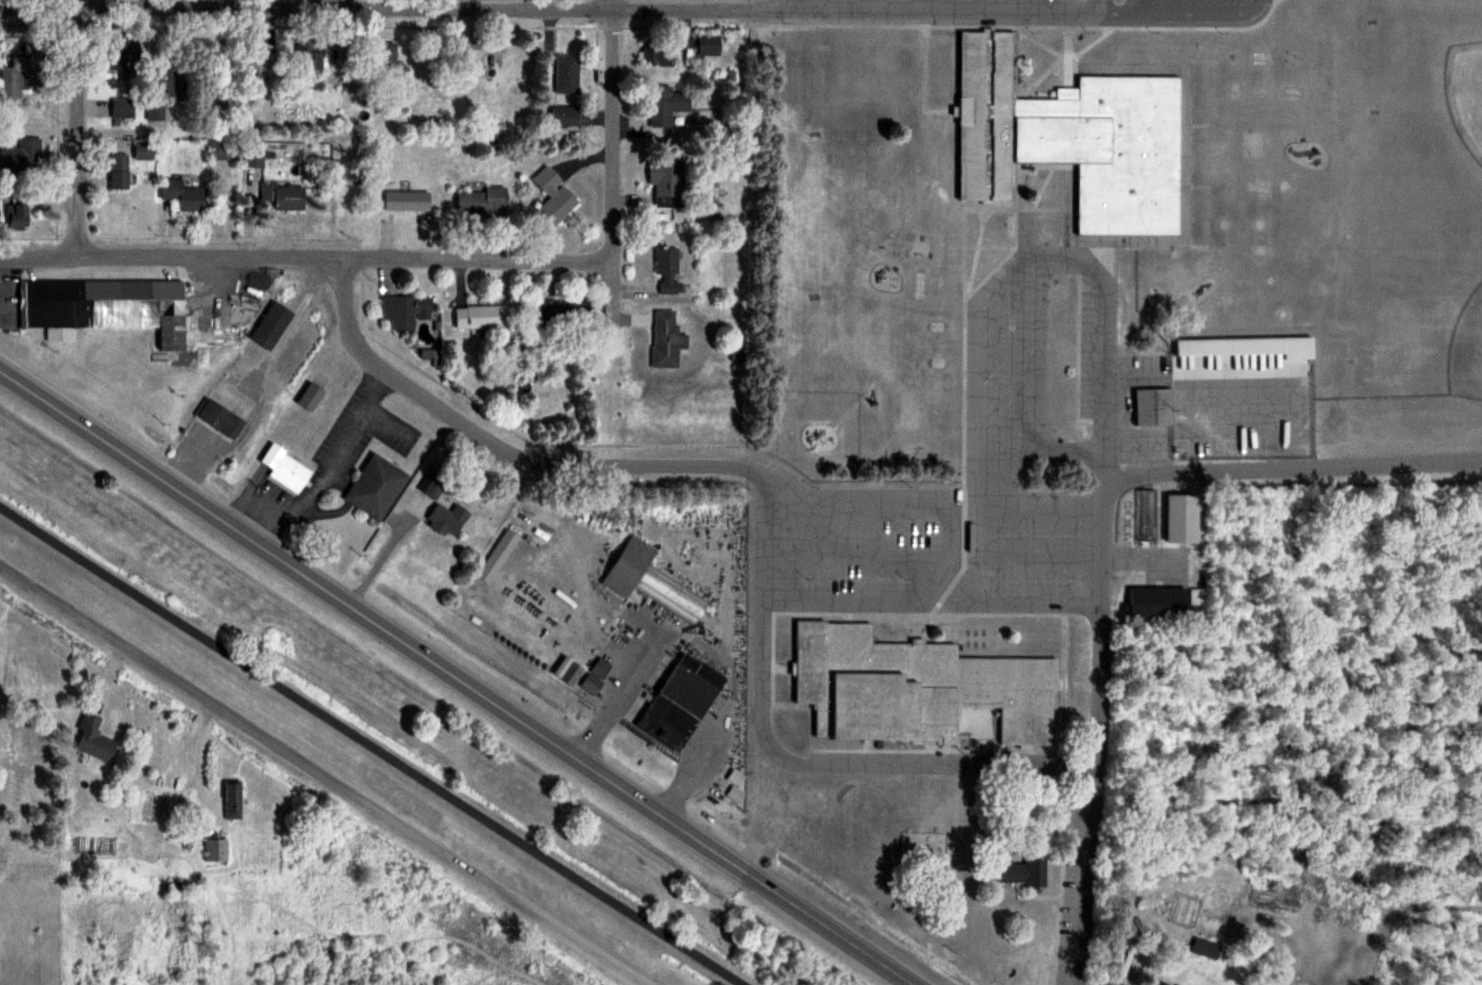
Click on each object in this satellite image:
road: (341, 4)
road: (1101, 6)
road: (550, 9)
building: (709, 45)
building: (657, 53)
building: (122, 54)
building: (385, 56)
building: (470, 58)
building: (312, 63)
building: (258, 65)
building: (567, 74)
building: (10, 86)
building: (666, 105)
building: (122, 108)
building: (156, 111)
building: (565, 116)
building: (1063, 127)
road: (76, 128)
building: (144, 150)
building: (224, 150)
building: (22, 156)
road: (612, 161)
building: (119, 172)
building: (666, 181)
building: (187, 195)
building: (284, 195)
building: (554, 196)
building: (407, 200)
building: (483, 200)
building: (20, 210)
road: (306, 256)
building: (667, 269)
building: (106, 307)
building: (406, 311)
building: (561, 312)
building: (483, 316)
building: (271, 326)
building: (666, 340)
road: (956, 358)
road: (1007, 378)
building: (310, 397)
building: (1154, 406)
building: (220, 419)
road: (493, 444)
road: (1290, 463)
building: (286, 469)
building: (376, 487)
building: (433, 489)
road: (1029, 491)
building: (1191, 513)
building: (447, 520)
road: (956, 539)
building: (652, 580)
road: (1103, 592)
building: (1161, 603)
road: (1014, 612)
road: (373, 621)
building: (914, 687)
building: (678, 704)
building: (94, 738)
road: (372, 746)
road: (788, 759)
road: (323, 775)
building: (735, 794)
building: (233, 799)
building: (216, 849)
building: (1023, 872)
road: (830, 929)
building: (1164, 983)

